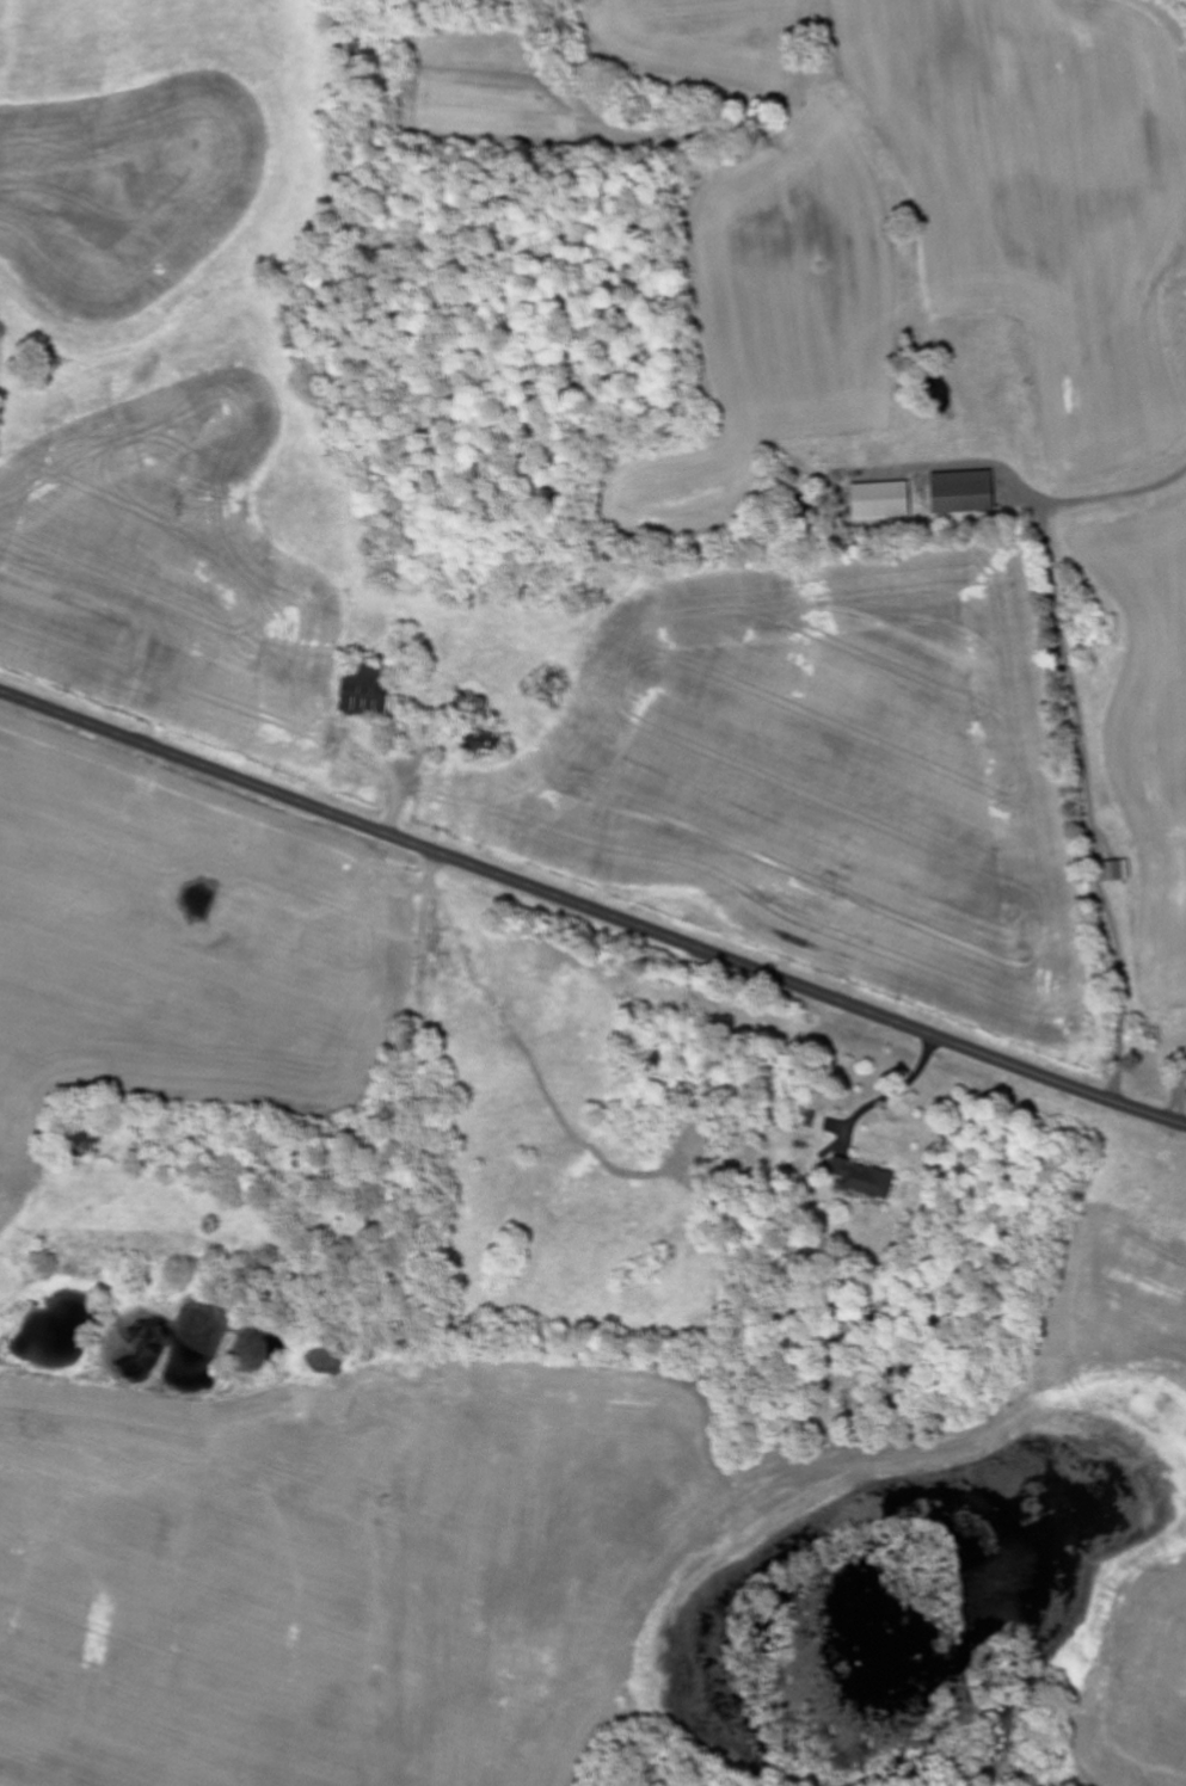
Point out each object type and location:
building: (970, 492)
building: (887, 500)
building: (371, 695)
road: (1081, 733)
building: (1120, 872)
road: (591, 909)
road: (1179, 1098)
building: (867, 1180)

